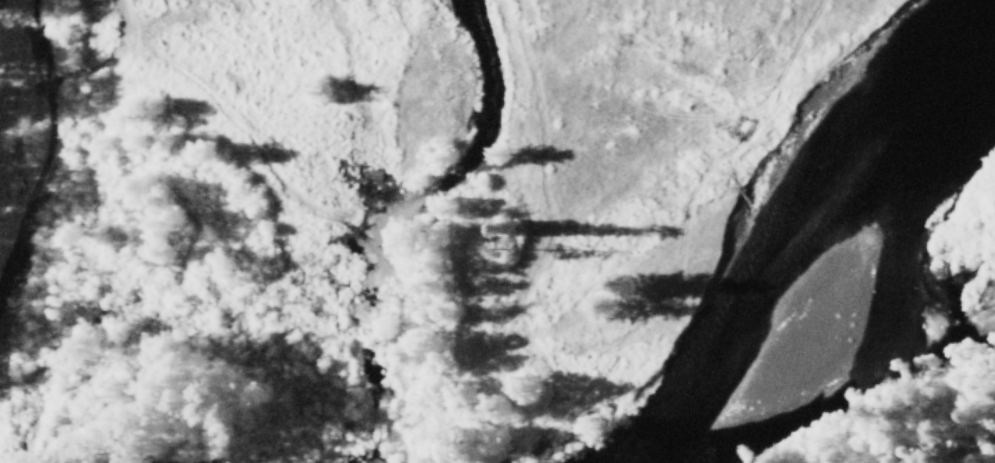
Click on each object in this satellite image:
river: (7, 112)
river: (896, 318)

